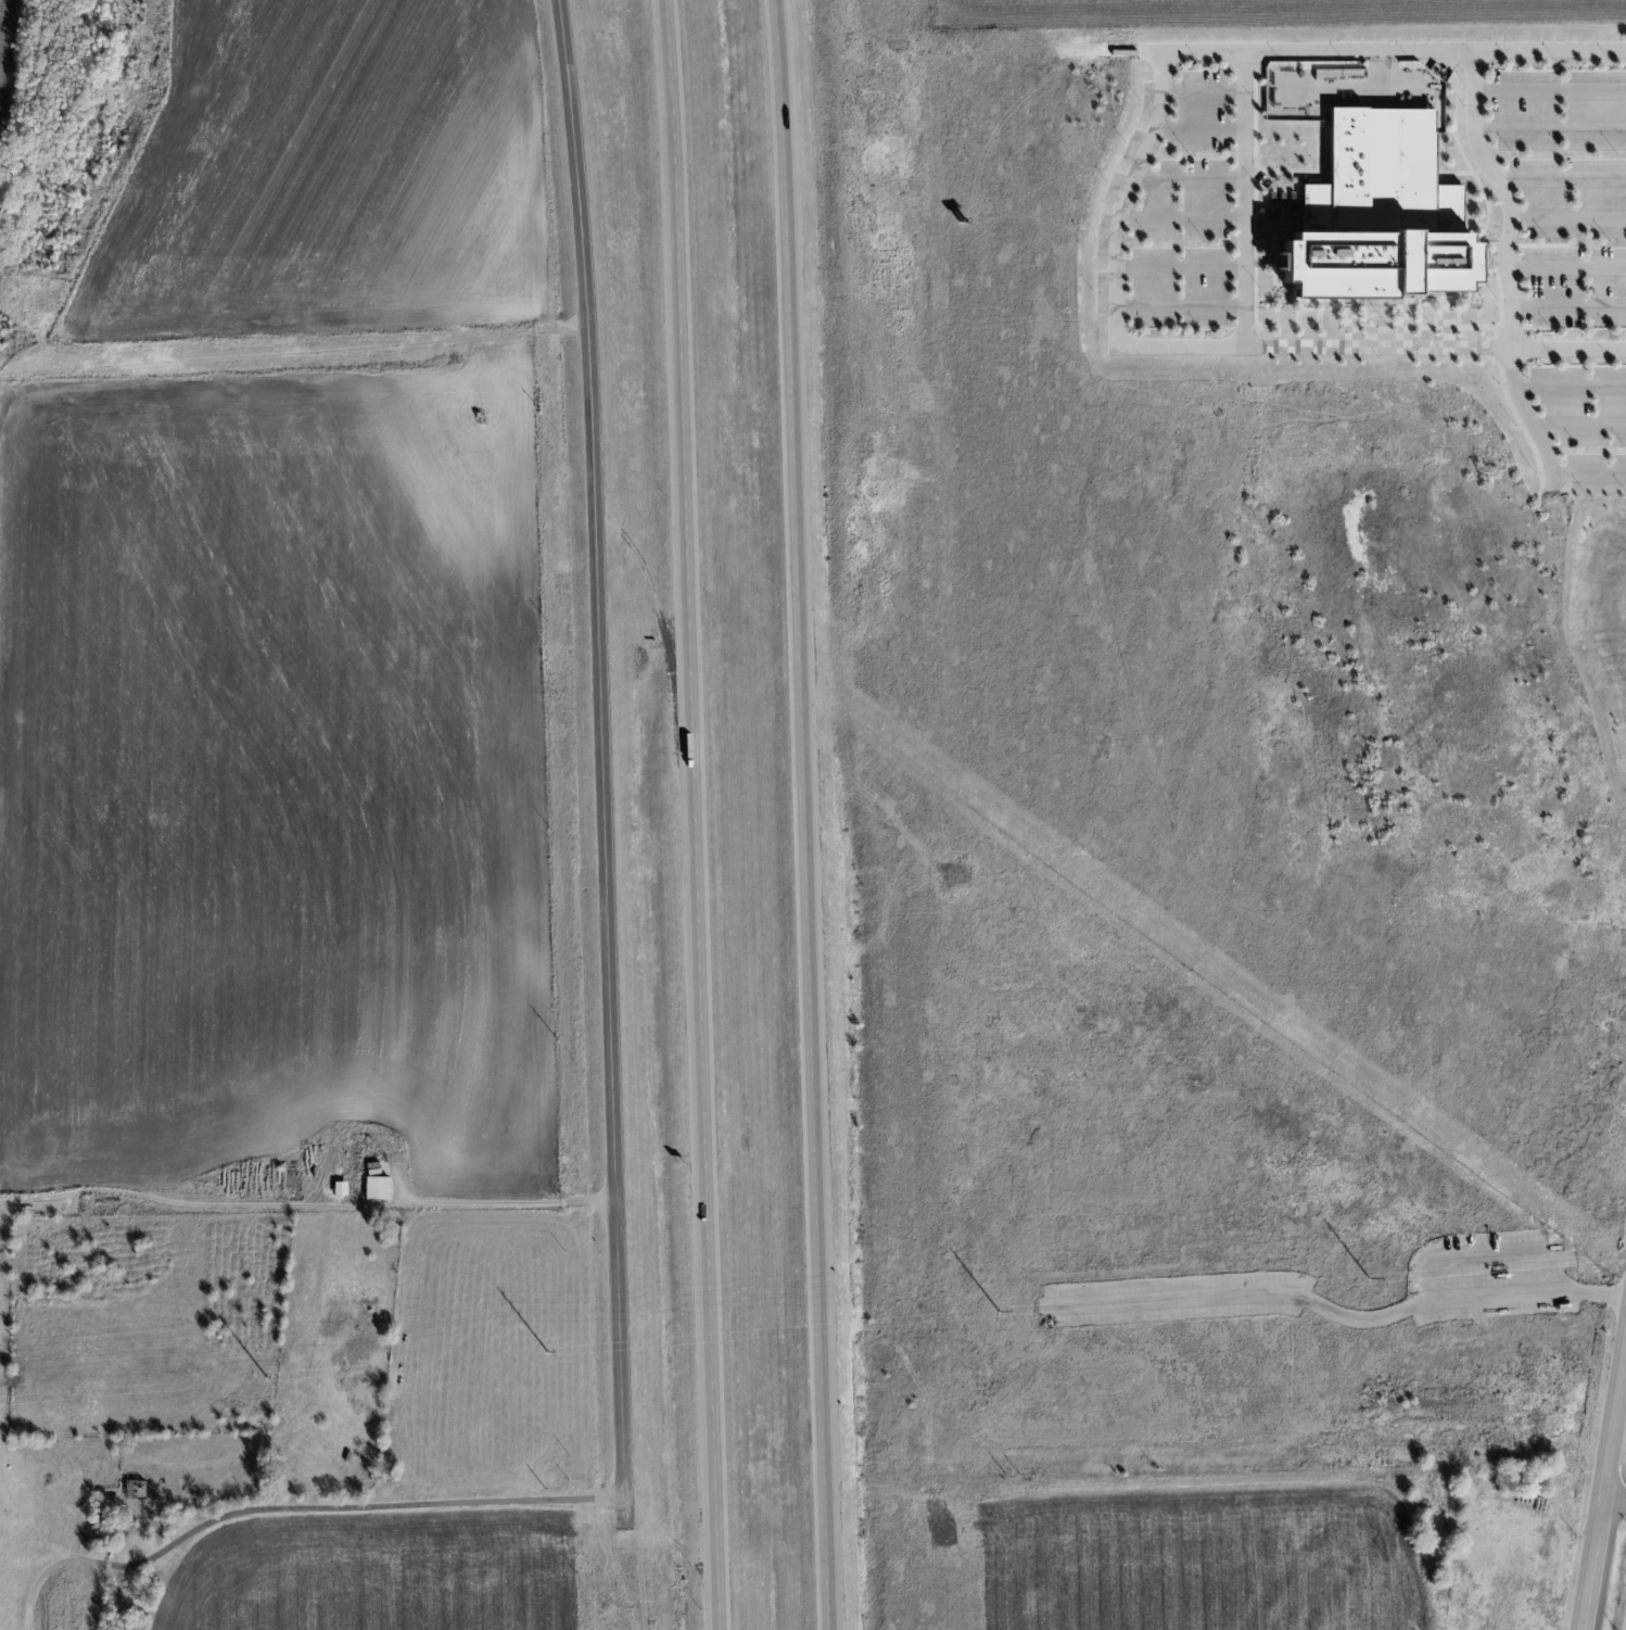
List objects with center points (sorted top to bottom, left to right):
road: (1382, 51)
road: (1205, 89)
road: (1550, 89)
road: (1201, 127)
road: (1549, 130)
road: (1561, 179)
road: (1189, 180)
road: (1244, 199)
parking lot: (1182, 206)
building: (1384, 213)
road: (1181, 218)
road: (1567, 218)
road: (1116, 260)
road: (1506, 262)
parking lot: (1561, 262)
road: (1180, 266)
road: (1565, 267)
road: (1180, 306)
road: (1568, 307)
road: (1377, 346)
road: (1568, 348)
road: (1571, 388)
road: (1580, 426)
road: (1589, 473)
road: (605, 745)
road: (693, 814)
road: (805, 814)
building: (377, 1187)
building: (340, 1188)
power tower: (1369, 1278)
road: (1335, 1312)
power tower: (1000, 1313)
power tower: (548, 1353)
power tower: (265, 1378)
building: (386, 1468)
building: (136, 1487)
road: (1603, 1488)
road: (1614, 1496)
road: (360, 1503)
building: (102, 1529)
building: (157, 1533)
building: (103, 1542)
road: (89, 1562)
road: (1609, 1565)
road: (35, 1585)

